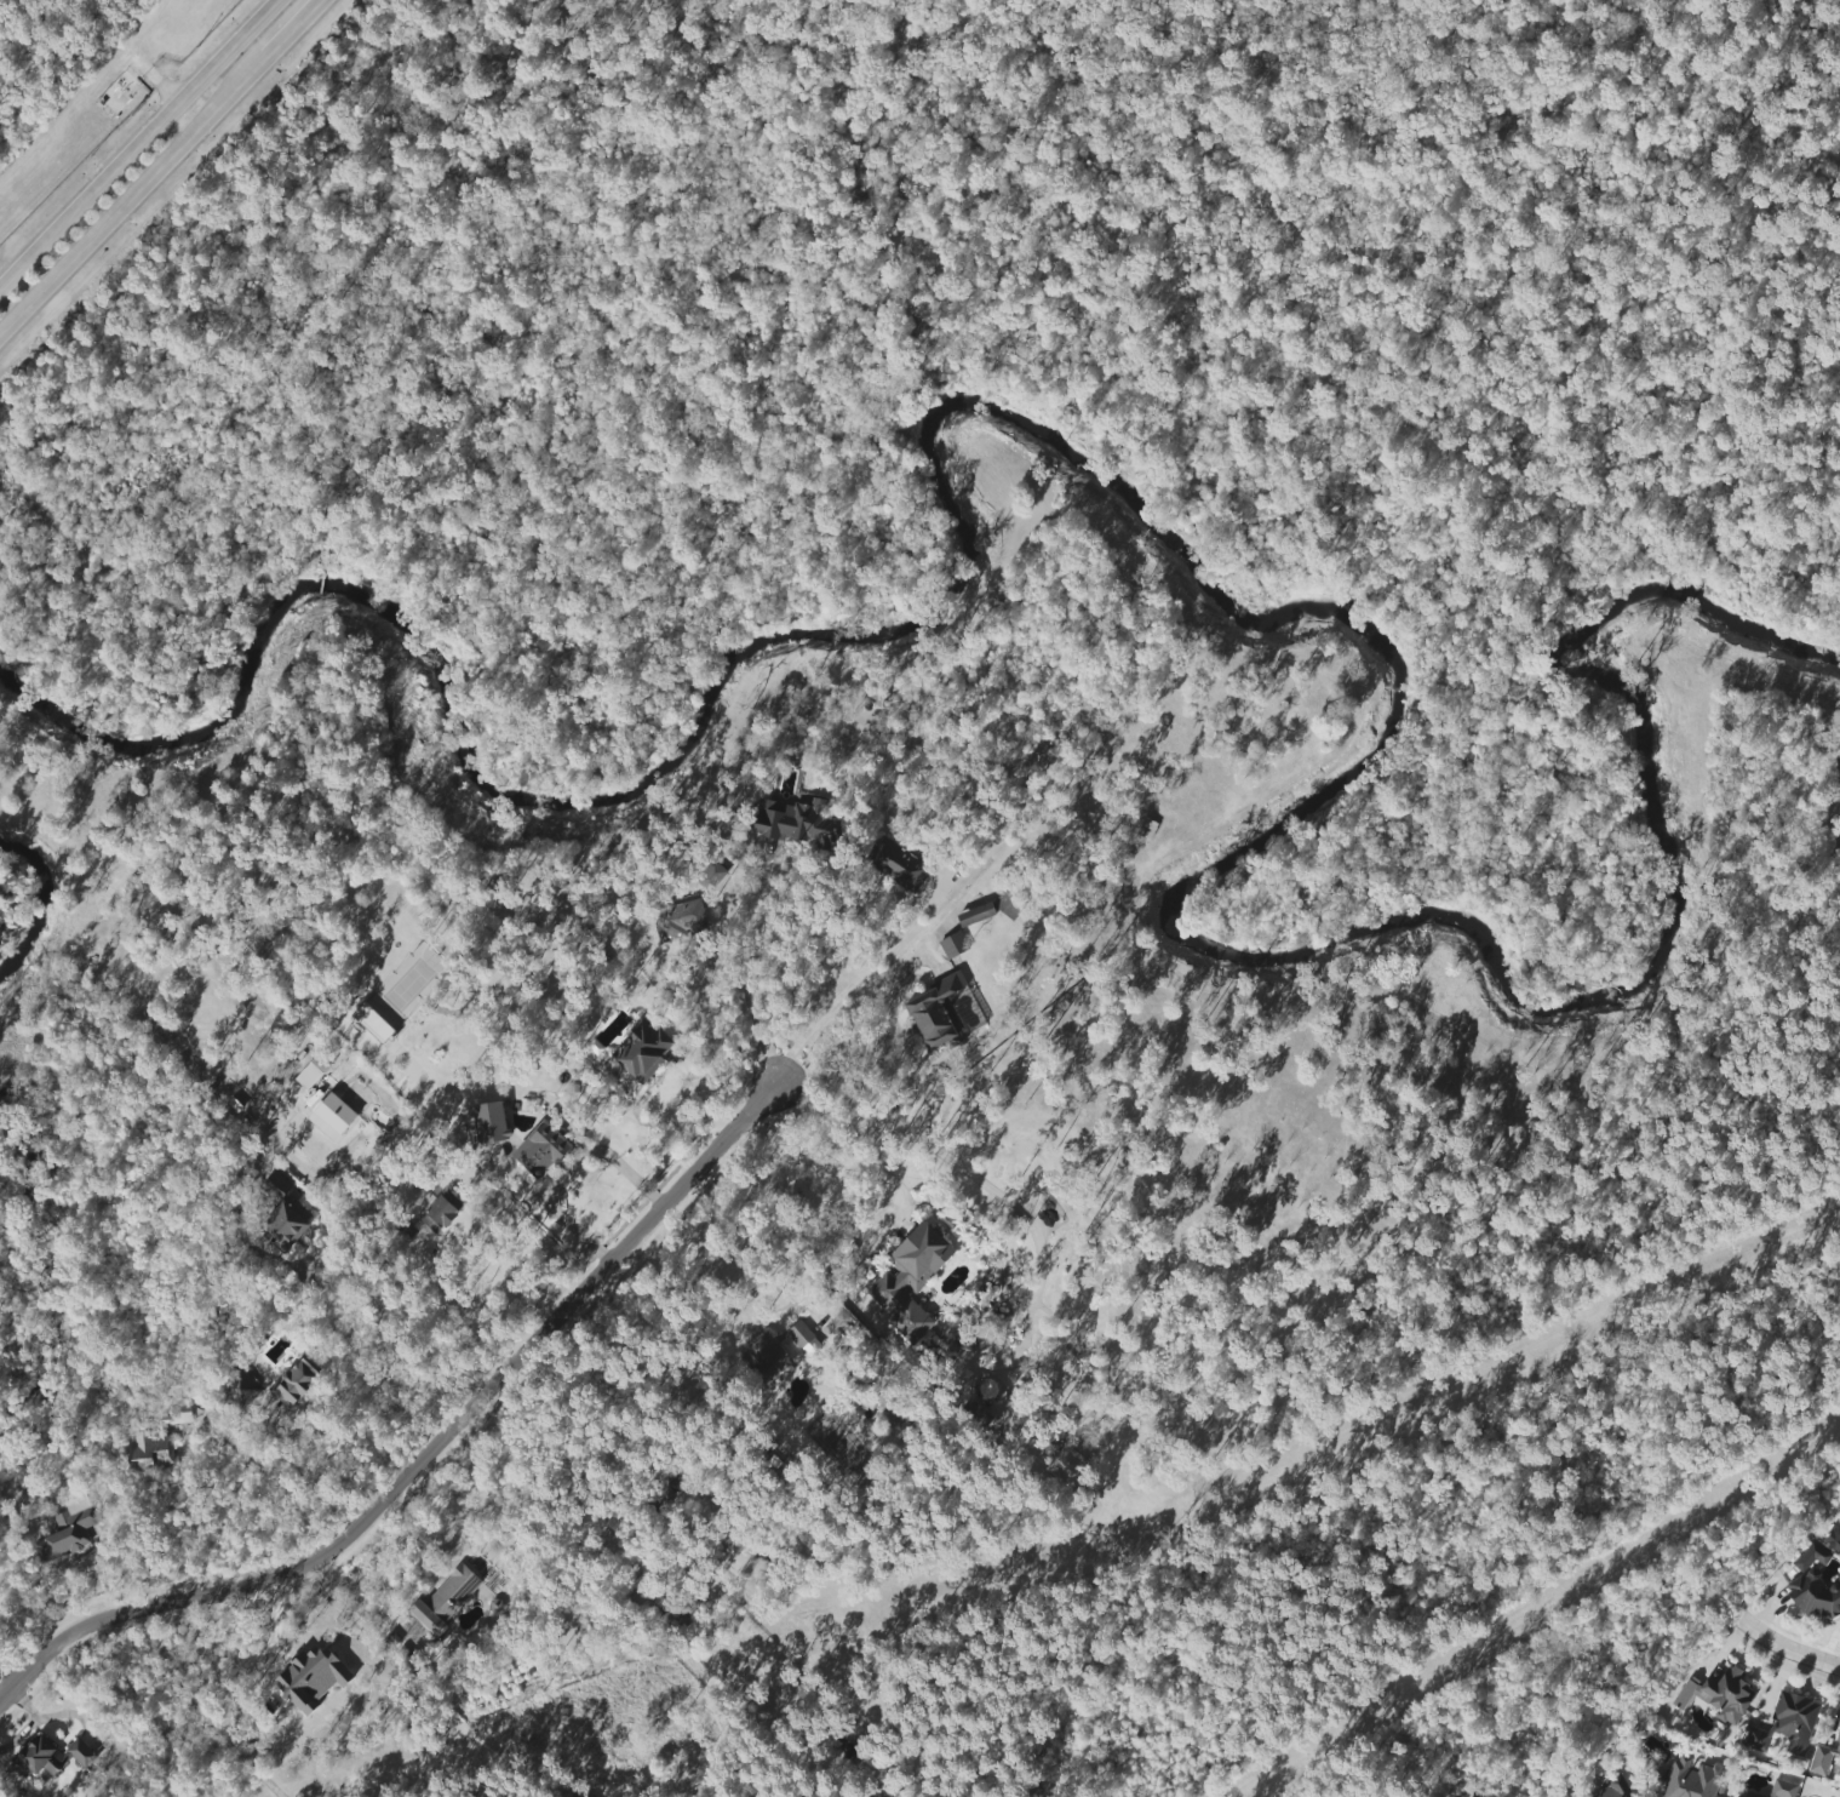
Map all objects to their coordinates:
road: (18, 11)
road: (292, 29)
road: (147, 82)
road: (133, 137)
road: (133, 198)
river: (1203, 608)
building: (795, 822)
building: (896, 864)
building: (713, 875)
river: (39, 906)
building: (975, 915)
building: (952, 945)
road: (860, 975)
road: (745, 977)
building: (934, 1012)
building: (372, 1023)
building: (642, 1052)
road: (888, 1054)
building: (332, 1117)
building: (491, 1122)
building: (541, 1150)
road: (839, 1161)
road: (566, 1171)
road: (971, 1175)
building: (438, 1215)
building: (283, 1225)
road: (758, 1232)
building: (911, 1280)
road: (464, 1320)
building: (803, 1338)
road: (379, 1373)
building: (294, 1383)
building: (239, 1392)
building: (176, 1415)
building: (150, 1449)
road: (423, 1454)
building: (1067, 1466)
road: (282, 1477)
road: (313, 1478)
building: (68, 1530)
building: (1817, 1553)
building: (1815, 1596)
building: (445, 1598)
road: (365, 1603)
road: (1785, 1647)
building: (313, 1678)
building: (1718, 1694)
road: (141, 1709)
building: (1793, 1722)
building: (81, 1753)
building: (39, 1757)
building: (1823, 1757)
building: (1690, 1779)
building: (1783, 1789)
building: (1611, 1790)
building: (589, 1796)
building: (1737, 1796)

